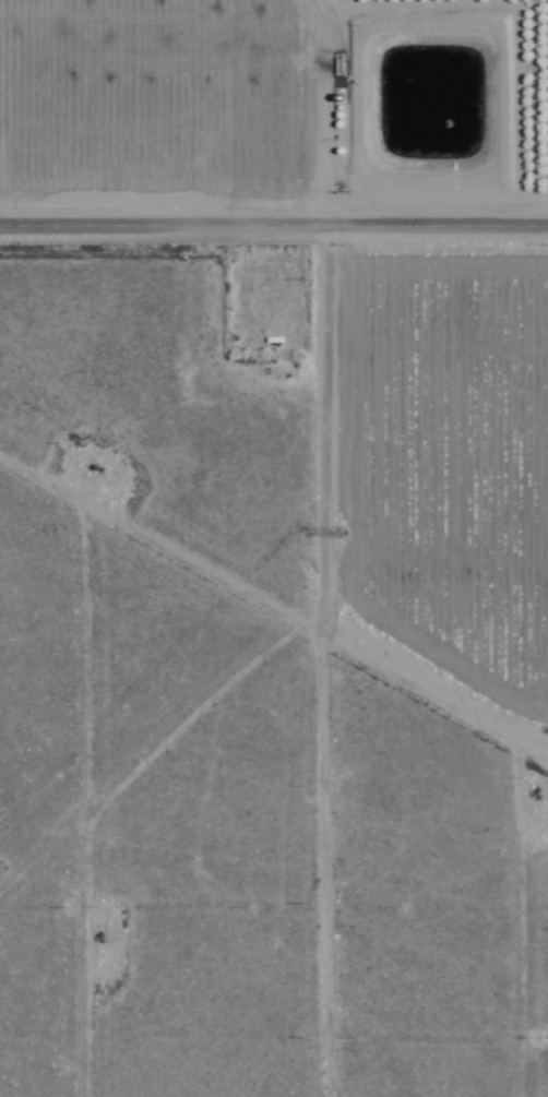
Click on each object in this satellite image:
road: (273, 227)
crop: (348, 258)
power tower: (344, 532)
road: (278, 548)
road: (271, 633)
road: (25, 803)
power tower: (3, 865)
road: (413, 908)

